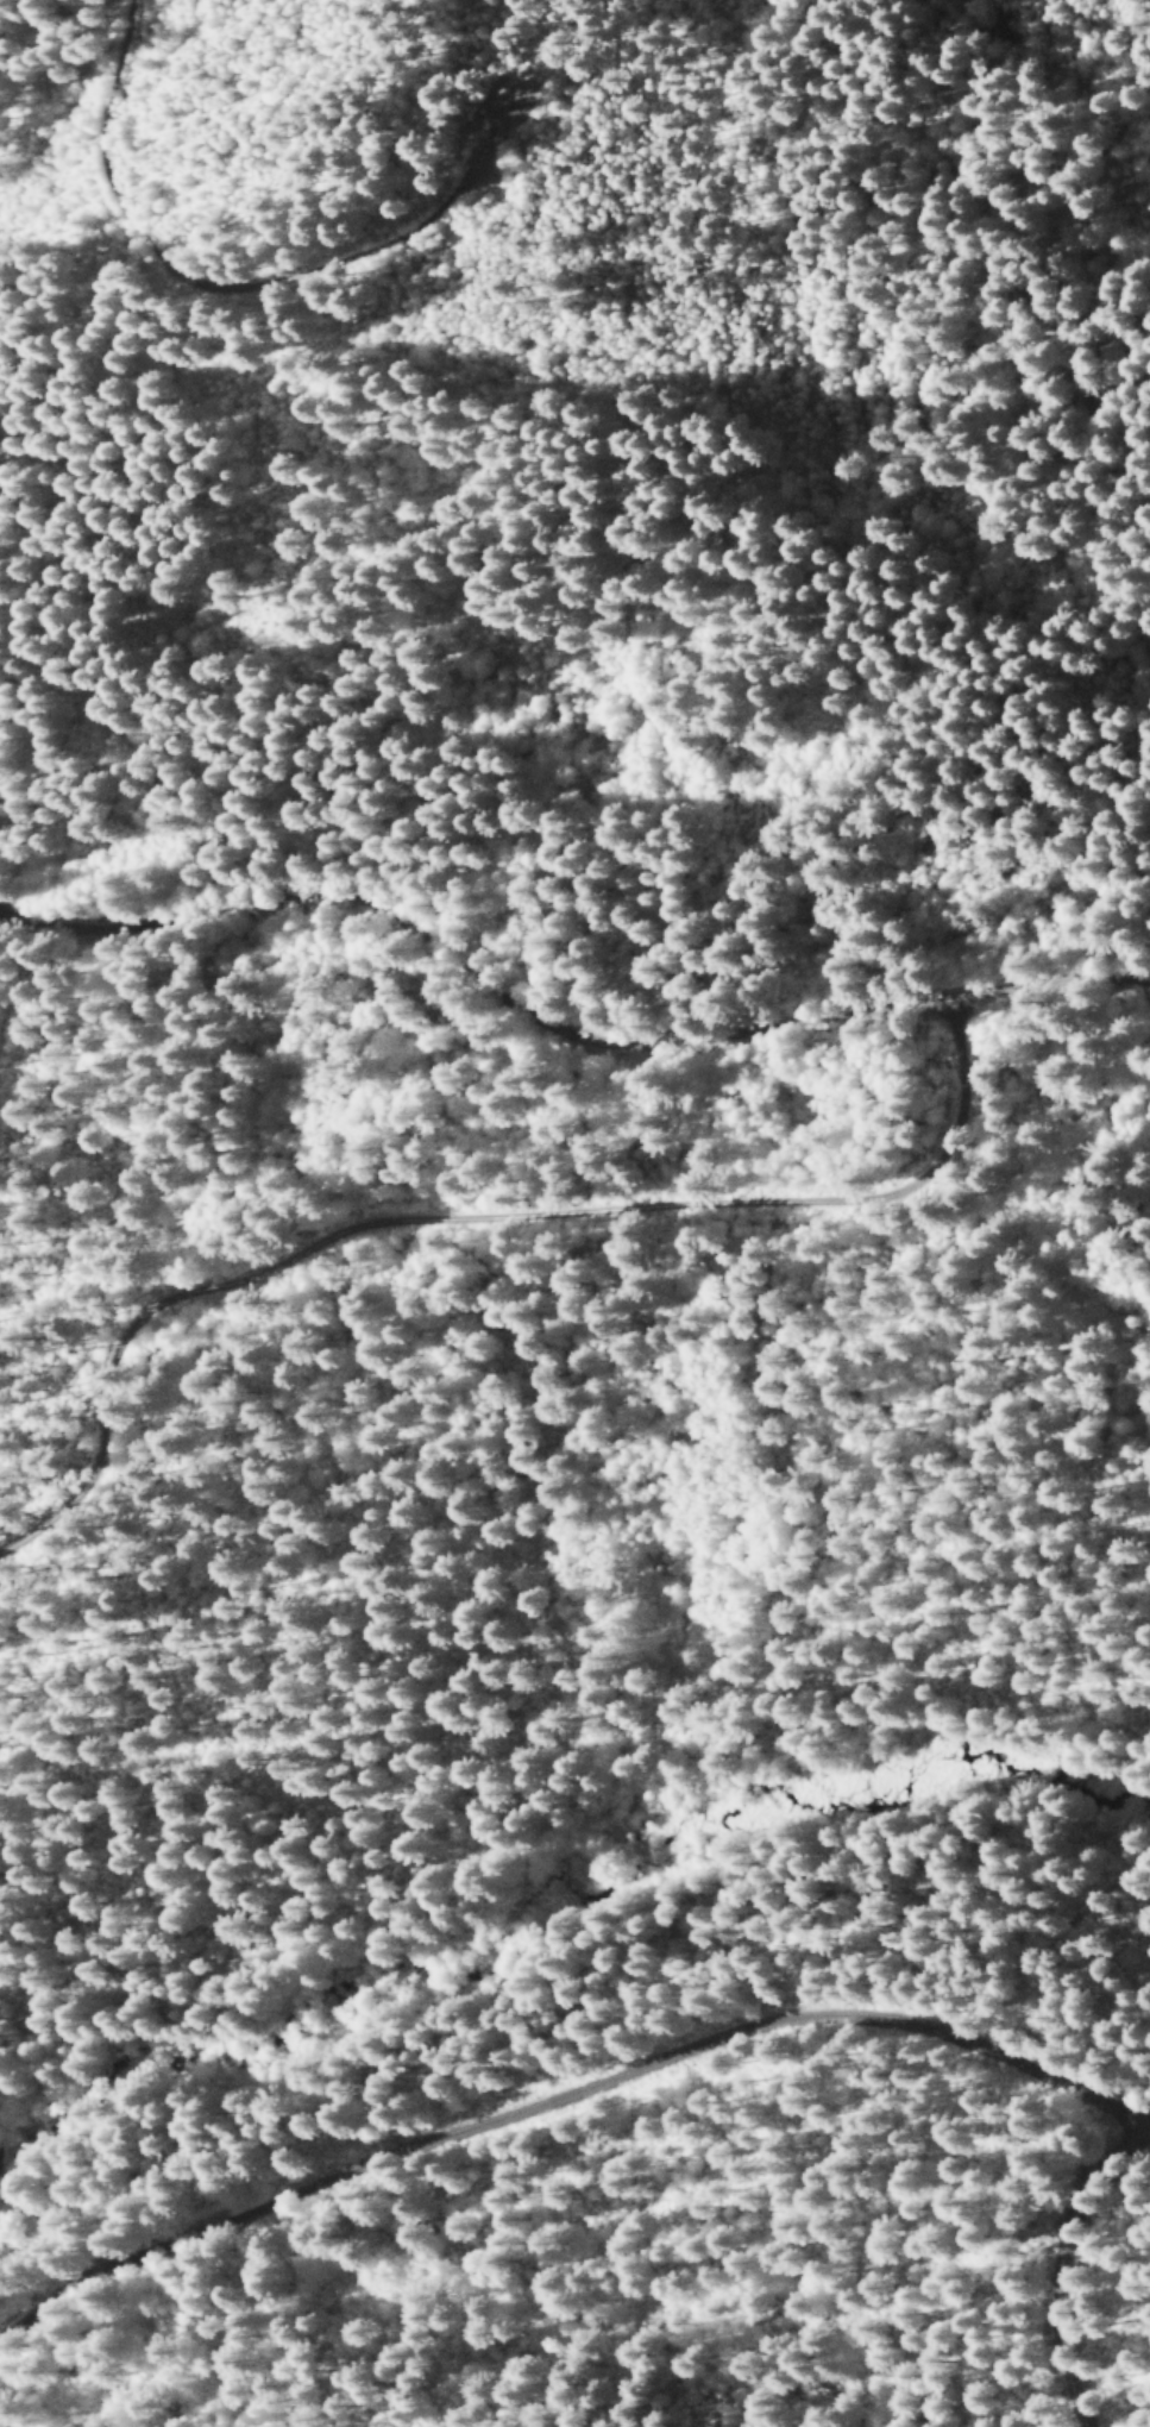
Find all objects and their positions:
road: (568, 1009)
river: (523, 1921)
road: (563, 2097)

